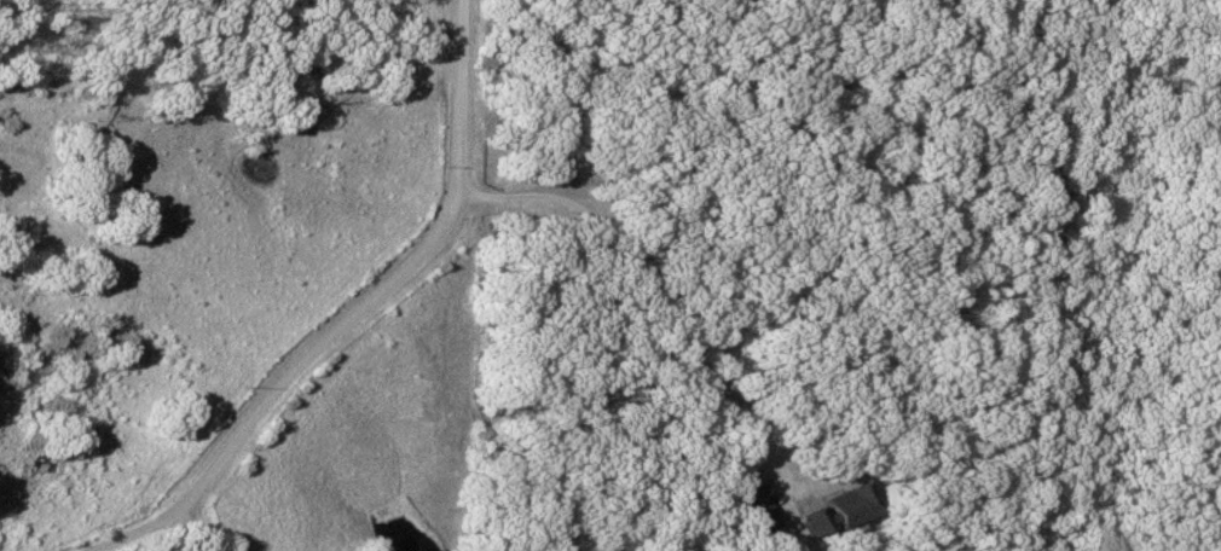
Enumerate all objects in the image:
road: (357, 313)
building: (752, 509)
building: (833, 509)
building: (231, 550)

